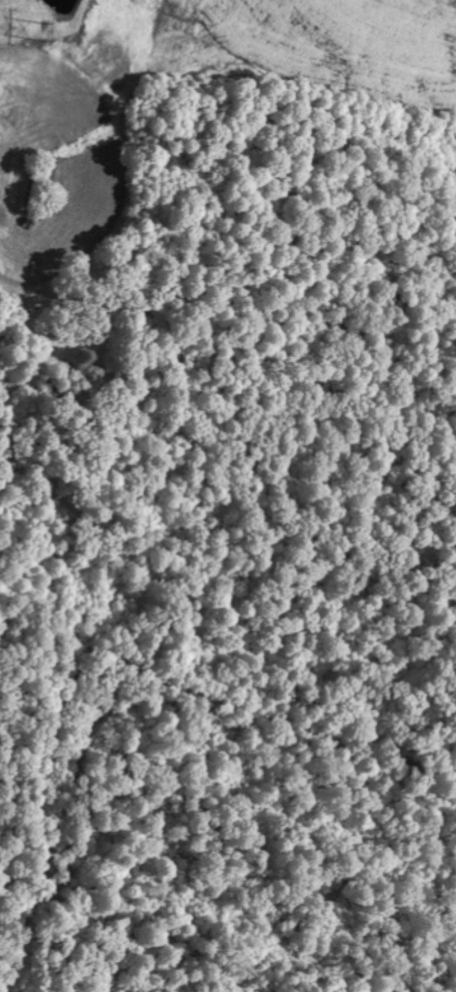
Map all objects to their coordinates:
power tower: (40, 31)

